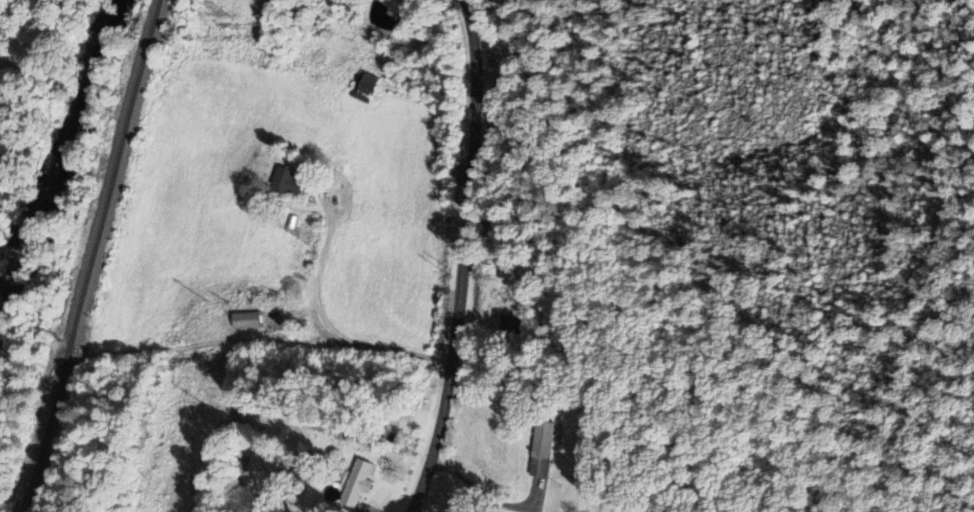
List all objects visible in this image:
road: (498, 52)
river: (75, 156)
building: (288, 183)
railway: (89, 255)
road: (458, 258)
building: (247, 322)
building: (513, 324)
road: (318, 327)
building: (543, 451)
railway: (31, 467)
building: (358, 484)
road: (486, 497)

